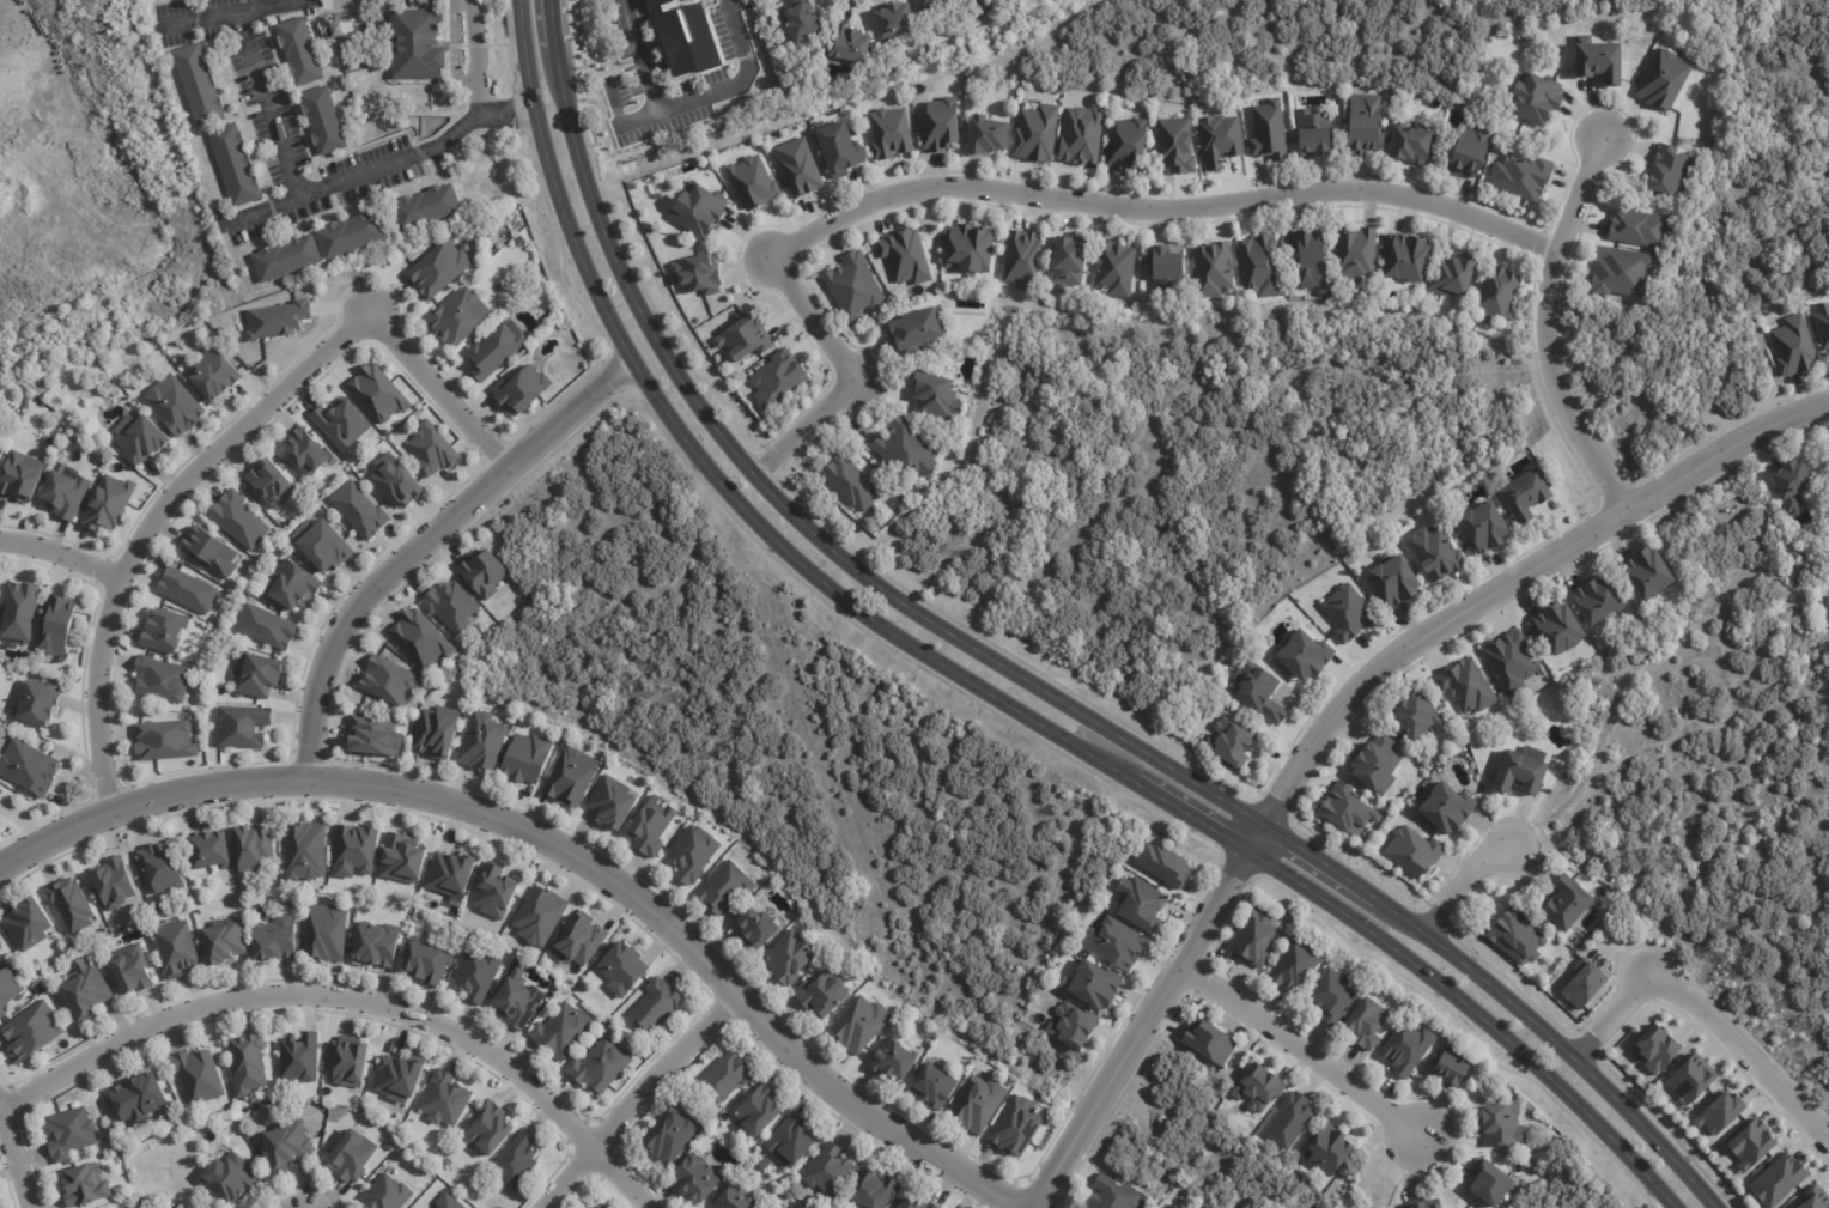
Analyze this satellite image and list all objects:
building: (929, 4)
building: (979, 6)
road: (200, 17)
building: (893, 19)
building: (798, 22)
building: (418, 43)
building: (850, 44)
road: (454, 48)
building: (297, 50)
road: (475, 55)
building: (1597, 60)
building: (1663, 79)
building: (199, 84)
road: (693, 91)
building: (1535, 97)
building: (321, 120)
building: (940, 125)
building: (1363, 126)
building: (889, 132)
building: (1037, 132)
building: (1268, 132)
building: (1312, 134)
building: (986, 135)
building: (1082, 135)
building: (1219, 140)
building: (1175, 145)
building: (1410, 145)
building: (1126, 146)
building: (837, 148)
building: (1469, 151)
building: (232, 164)
quarry: (72, 165)
building: (686, 166)
building: (798, 166)
building: (1672, 172)
building: (1521, 177)
building: (649, 180)
building: (753, 181)
quarry: (93, 182)
road: (302, 192)
road: (1011, 193)
road: (260, 207)
building: (424, 207)
building: (699, 207)
building: (1640, 227)
building: (348, 235)
building: (522, 242)
building: (970, 248)
building: (1355, 255)
building: (904, 256)
building: (1406, 257)
building: (284, 259)
building: (1022, 259)
building: (1307, 260)
building: (1069, 262)
building: (1167, 267)
building: (1260, 267)
building: (439, 269)
building: (1116, 269)
building: (1213, 269)
building: (1621, 272)
building: (697, 274)
building: (1452, 275)
building: (855, 285)
building: (1495, 293)
building: (278, 318)
building: (458, 318)
road: (1544, 322)
building: (1822, 326)
building: (914, 330)
building: (742, 340)
building: (1793, 345)
building: (494, 351)
building: (219, 376)
building: (777, 378)
building: (521, 389)
building: (379, 393)
building: (934, 397)
building: (177, 406)
building: (340, 424)
building: (385, 433)
building: (141, 438)
building: (0, 443)
road: (223, 448)
building: (432, 449)
building: (306, 450)
building: (1828, 450)
building: (907, 453)
building: (0, 454)
park: (1195, 468)
building: (24, 478)
building: (395, 480)
building: (273, 482)
building: (850, 482)
building: (1792, 484)
building: (69, 493)
building: (1524, 497)
building: (113, 503)
building: (359, 509)
building: (237, 520)
building: (1484, 528)
road: (424, 544)
building: (326, 546)
building: (208, 551)
road: (61, 554)
building: (1436, 554)
building: (486, 573)
building: (1647, 575)
building: (1394, 583)
building: (292, 588)
building: (184, 589)
road: (1503, 589)
building: (1, 601)
building: (1598, 601)
building: (449, 607)
building: (25, 613)
building: (1348, 613)
building: (1827, 613)
building: (61, 627)
building: (267, 627)
building: (166, 629)
building: (1558, 630)
building: (223, 635)
building: (421, 638)
building: (1306, 655)
building: (1509, 658)
building: (259, 675)
building: (162, 679)
building: (388, 679)
road: (1032, 680)
road: (988, 686)
building: (1466, 687)
building: (1259, 694)
building: (43, 704)
building: (1417, 717)
building: (242, 726)
building: (437, 734)
building: (372, 736)
building: (162, 741)
building: (1229, 741)
building: (481, 742)
park: (803, 747)
building: (524, 760)
building: (1375, 766)
building: (31, 767)
building: (1520, 771)
road: (1708, 771)
building: (570, 779)
park: (1715, 783)
building: (0, 789)
building: (612, 803)
building: (1448, 809)
building: (1347, 812)
building: (652, 827)
road: (559, 846)
building: (254, 848)
building: (209, 850)
building: (1412, 850)
building: (356, 851)
building: (305, 852)
building: (693, 854)
building: (403, 857)
building: (1162, 863)
building: (162, 867)
building: (451, 874)
road: (1683, 876)
building: (114, 882)
road: (1465, 885)
building: (724, 887)
building: (494, 892)
building: (1140, 903)
building: (1568, 903)
building: (71, 904)
building: (539, 916)
building: (30, 923)
building: (754, 928)
building: (327, 933)
building: (1515, 936)
building: (1252, 937)
building: (271, 939)
building: (223, 940)
building: (581, 940)
building: (1114, 943)
building: (373, 946)
building: (176, 948)
building: (788, 958)
building: (0, 959)
building: (425, 961)
building: (1295, 964)
building: (620, 967)
building: (133, 973)
building: (476, 976)
building: (1089, 984)
building: (1584, 984)
building: (8, 989)
building: (84, 989)
building: (1331, 995)
building: (821, 997)
building: (517, 1000)
road: (351, 1006)
building: (654, 1007)
building: (1366, 1022)
building: (858, 1024)
building: (1073, 1025)
building: (31, 1031)
building: (564, 1031)
road: (1143, 1032)
road: (1713, 1032)
building: (1209, 1042)
building: (1406, 1048)
building: (1655, 1048)
building: (300, 1057)
building: (893, 1058)
building: (352, 1061)
road: (1306, 1061)
building: (247, 1063)
building: (600, 1067)
building: (1452, 1068)
building: (198, 1074)
building: (401, 1076)
building: (728, 1078)
building: (1691, 1078)
building: (935, 1087)
building: (1257, 1087)
building: (136, 1098)
building: (445, 1098)
road: (638, 1100)
building: (976, 1104)
building: (759, 1109)
building: (1720, 1112)
building: (1289, 1119)
building: (1502, 1125)
building: (1015, 1128)
building: (490, 1129)
building: (69, 1133)
building: (669, 1135)
road: (1199, 1136)
building: (792, 1140)
park: (1195, 1140)
building: (1750, 1143)
building: (286, 1146)
building: (390, 1146)
building: (1329, 1149)
road: (16, 1152)
building: (352, 1158)
building: (516, 1159)
building: (761, 1163)
building: (831, 1171)
building: (227, 1177)
building: (693, 1177)
building: (1778, 1179)
park: (1567, 1182)
building: (84, 1184)
building: (1490, 1184)
building: (770, 1190)
building: (873, 1190)
building: (388, 1194)
building: (1111, 1195)
building: (1815, 1197)
building: (734, 1198)
building: (914, 1200)
building: (451, 1201)
building: (600, 1206)
building: (777, 1206)
building: (1172, 1206)
building: (1415, 1206)
building: (1186, 1207)
building: (1436, 1207)

